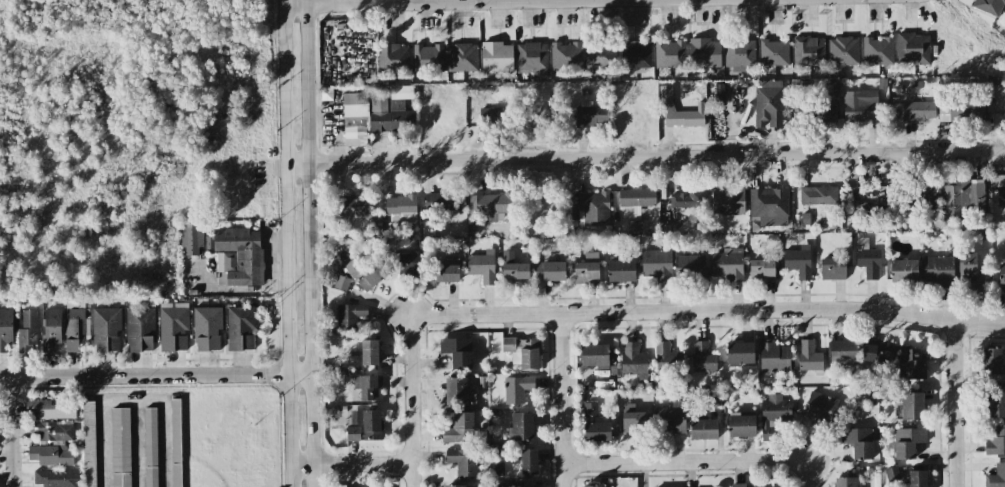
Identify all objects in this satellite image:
road: (465, 2)
building: (989, 6)
building: (912, 48)
building: (843, 51)
building: (877, 51)
building: (773, 52)
building: (808, 52)
building: (704, 53)
building: (739, 53)
building: (669, 54)
building: (601, 55)
building: (635, 55)
building: (496, 56)
building: (565, 56)
building: (462, 57)
building: (393, 58)
building: (427, 58)
building: (531, 58)
building: (768, 104)
building: (859, 105)
building: (665, 106)
building: (1004, 108)
building: (390, 110)
building: (918, 111)
building: (961, 112)
building: (589, 114)
building: (496, 116)
building: (355, 119)
road: (645, 160)
building: (998, 187)
building: (818, 195)
building: (918, 196)
building: (637, 197)
building: (688, 199)
building: (963, 199)
building: (445, 201)
building: (727, 201)
building: (351, 206)
building: (491, 206)
building: (768, 207)
building: (401, 208)
building: (594, 208)
building: (571, 214)
building: (635, 227)
building: (191, 238)
road: (286, 243)
road: (309, 243)
building: (239, 256)
building: (867, 259)
building: (798, 261)
building: (412, 264)
building: (657, 264)
building: (728, 264)
building: (482, 266)
building: (691, 267)
building: (513, 268)
building: (833, 268)
building: (587, 269)
building: (621, 270)
building: (762, 270)
building: (903, 270)
building: (939, 270)
building: (550, 271)
building: (970, 271)
building: (365, 272)
building: (446, 273)
building: (1001, 273)
building: (342, 282)
road: (660, 310)
building: (350, 316)
road: (981, 324)
building: (173, 326)
building: (240, 327)
building: (51, 328)
building: (206, 328)
building: (5, 329)
building: (74, 329)
building: (105, 329)
building: (139, 329)
building: (27, 331)
building: (843, 350)
building: (369, 352)
building: (457, 352)
building: (523, 352)
building: (875, 352)
building: (740, 353)
building: (595, 356)
building: (774, 356)
building: (809, 356)
building: (702, 357)
building: (667, 358)
building: (633, 360)
building: (991, 361)
building: (911, 363)
road: (154, 375)
building: (369, 387)
building: (517, 389)
road: (562, 399)
road: (131, 400)
building: (995, 403)
road: (959, 404)
building: (910, 407)
building: (820, 408)
building: (49, 409)
building: (773, 415)
building: (670, 419)
building: (633, 420)
building: (365, 425)
building: (595, 425)
building: (741, 425)
building: (521, 426)
building: (459, 428)
building: (703, 429)
road: (414, 430)
road: (14, 431)
building: (995, 440)
building: (907, 442)
building: (176, 443)
building: (52, 444)
building: (89, 444)
building: (120, 447)
building: (150, 447)
road: (780, 459)
building: (464, 461)
building: (529, 461)
road: (648, 463)
road: (351, 465)
building: (892, 473)
building: (996, 476)
building: (56, 477)
building: (917, 478)
building: (846, 482)
building: (768, 484)
building: (737, 485)
building: (455, 486)
building: (478, 486)
building: (592, 486)

